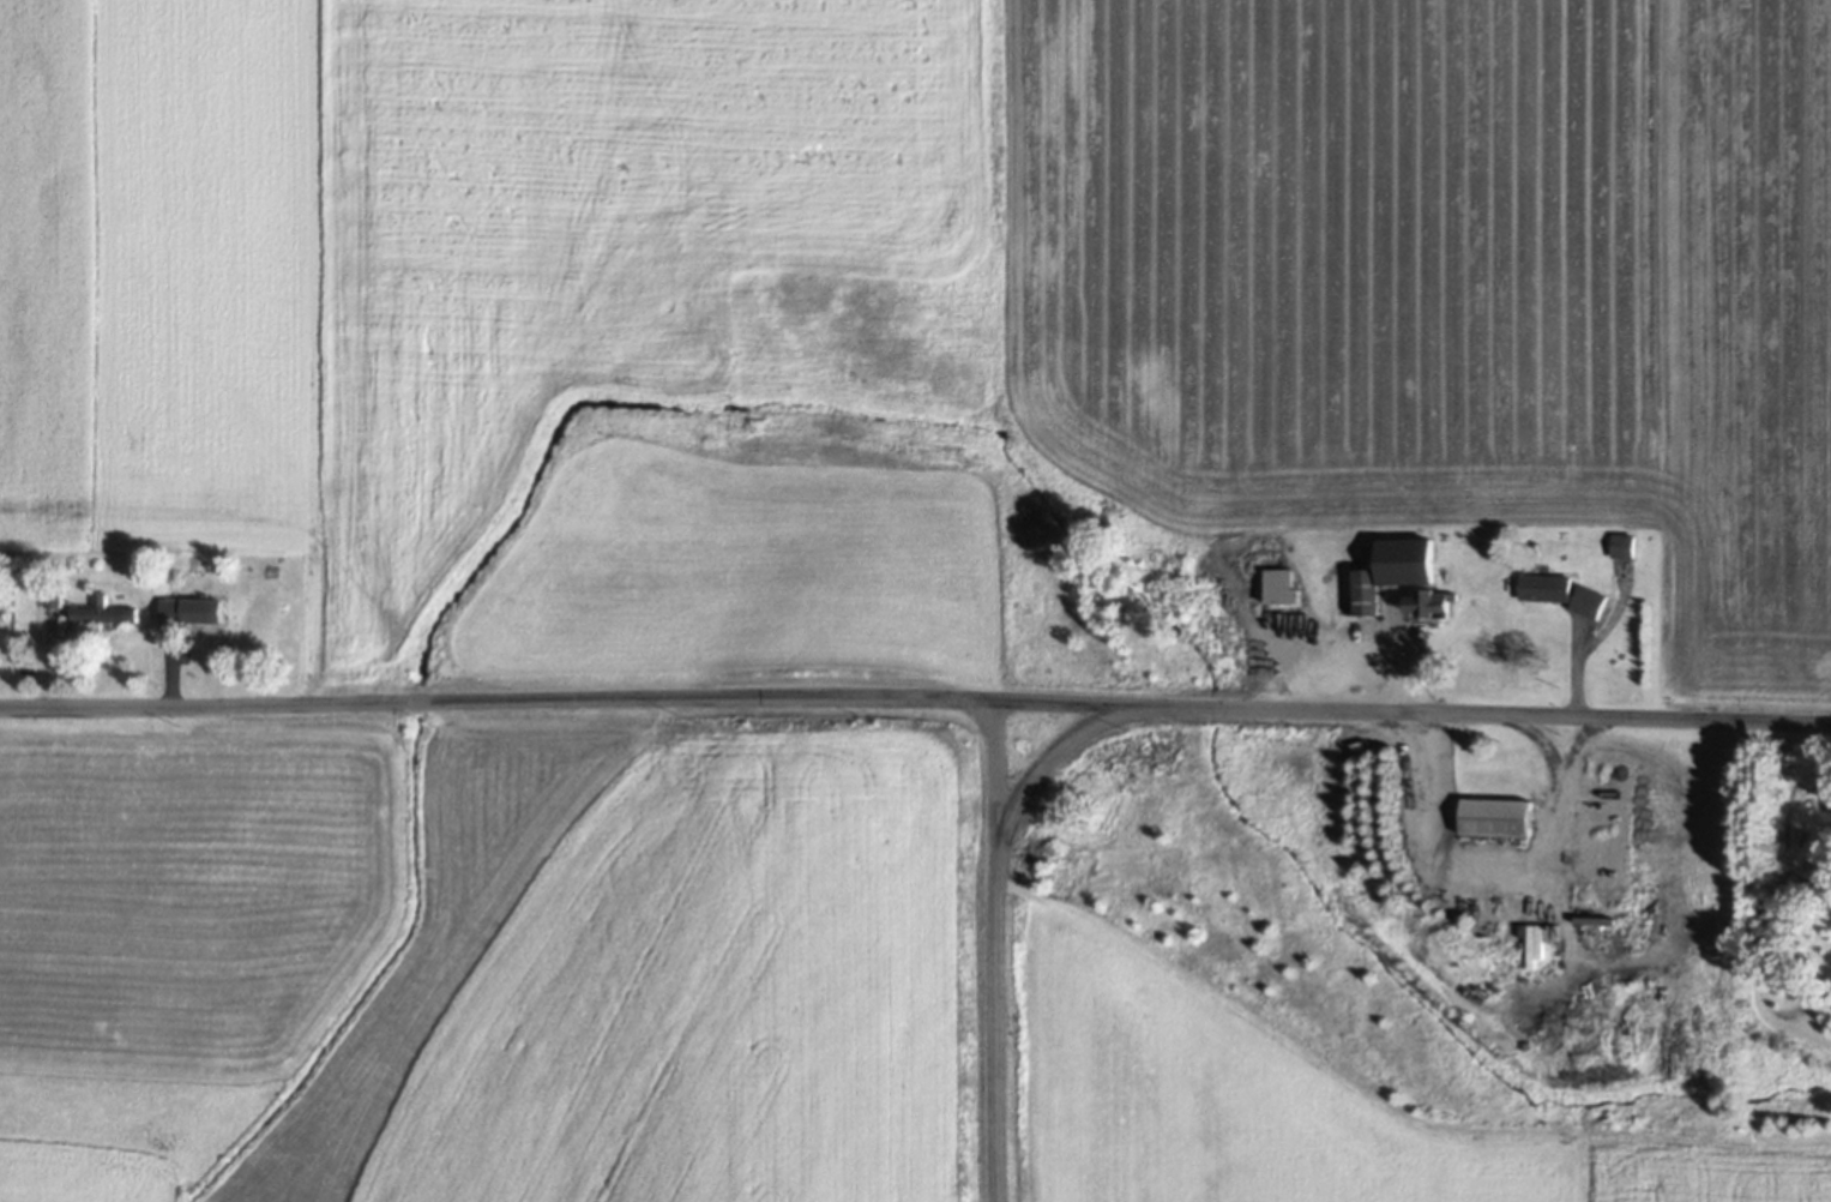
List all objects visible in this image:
building: (1624, 547)
building: (1399, 575)
building: (1549, 590)
building: (1594, 605)
building: (1433, 607)
building: (2, 613)
building: (198, 614)
building: (107, 615)
building: (1371, 633)
road: (915, 722)
road: (1049, 771)
building: (1500, 819)
building: (1501, 854)
road: (999, 962)

